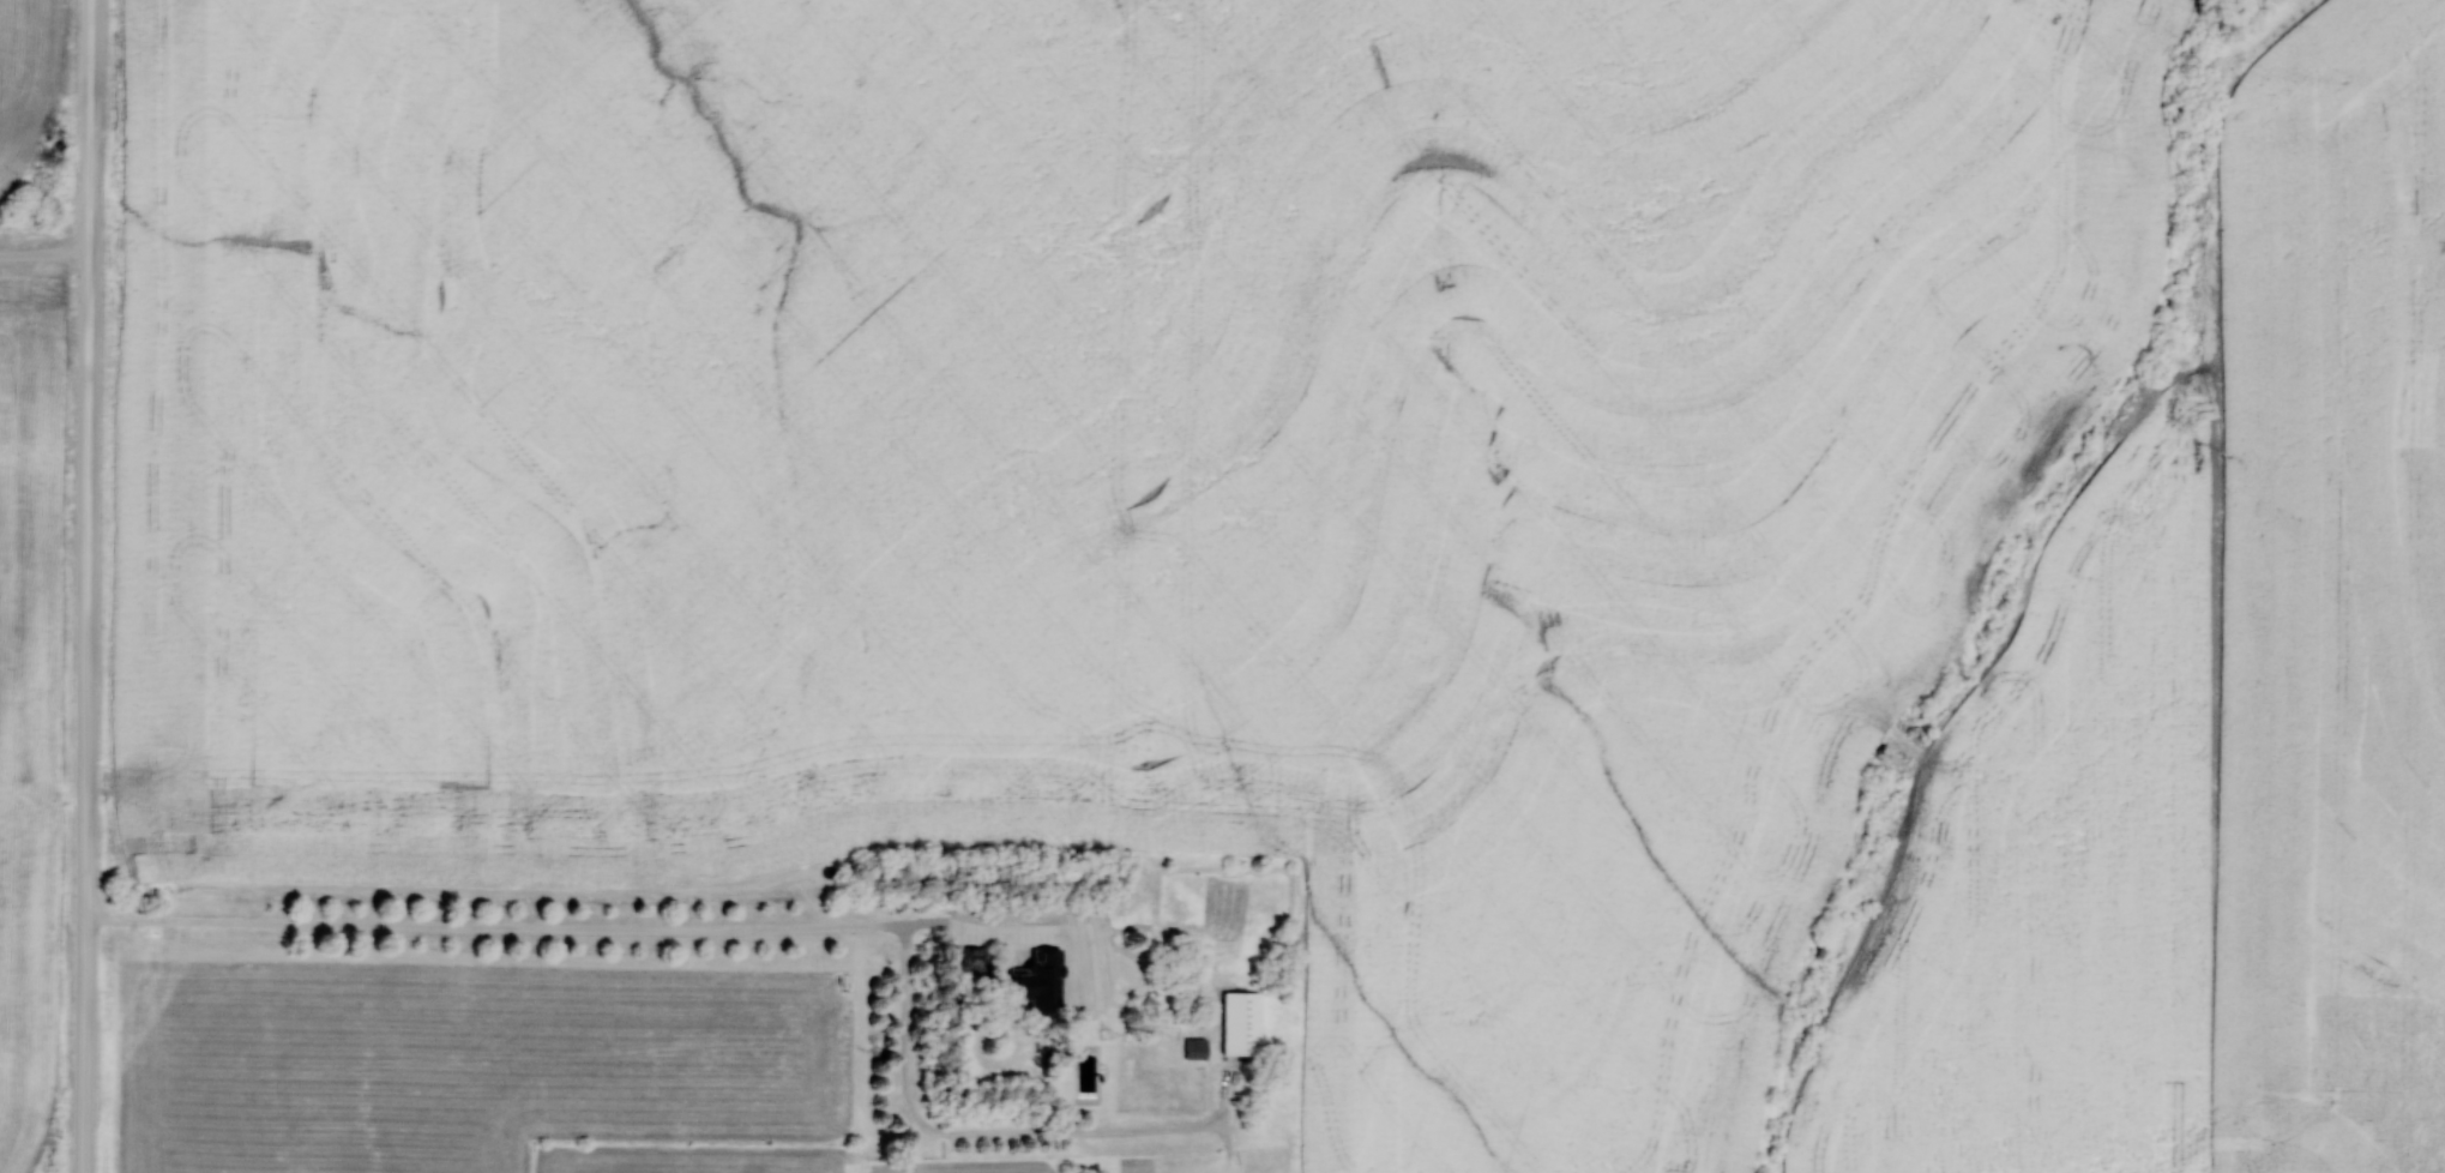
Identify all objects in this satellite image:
road: (88, 586)
building: (971, 960)
building: (1040, 983)
building: (1243, 1023)

